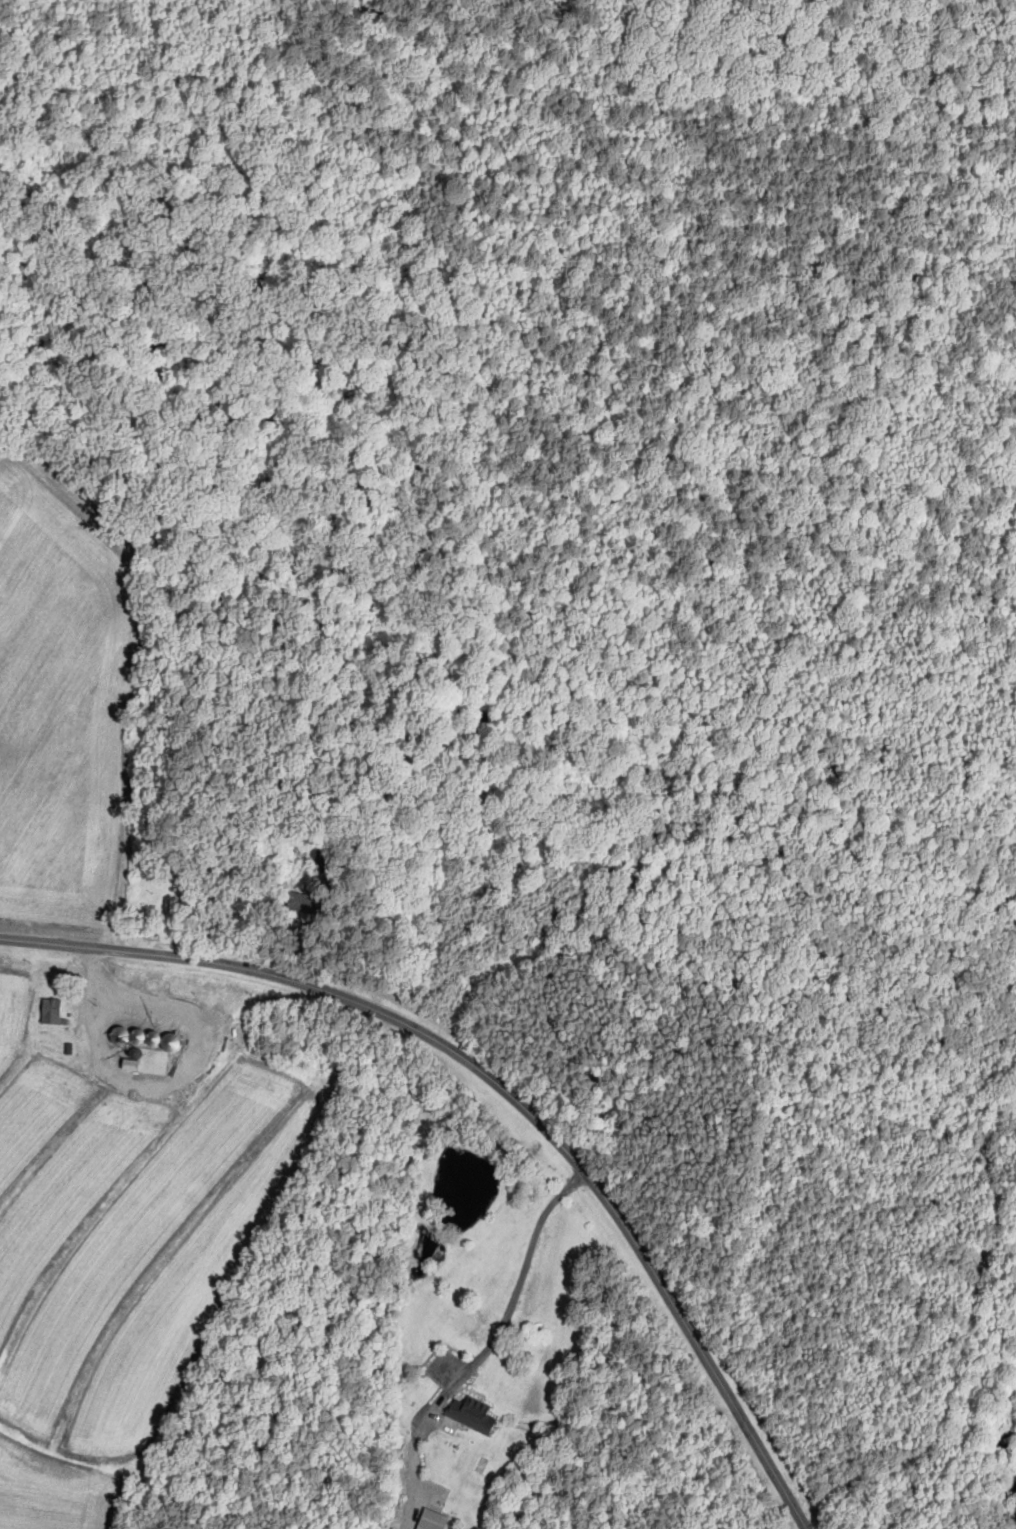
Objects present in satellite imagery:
building: (305, 902)
building: (52, 1011)
road: (177, 1073)
road: (501, 1091)
road: (516, 1291)
building: (473, 1415)
building: (432, 1520)

